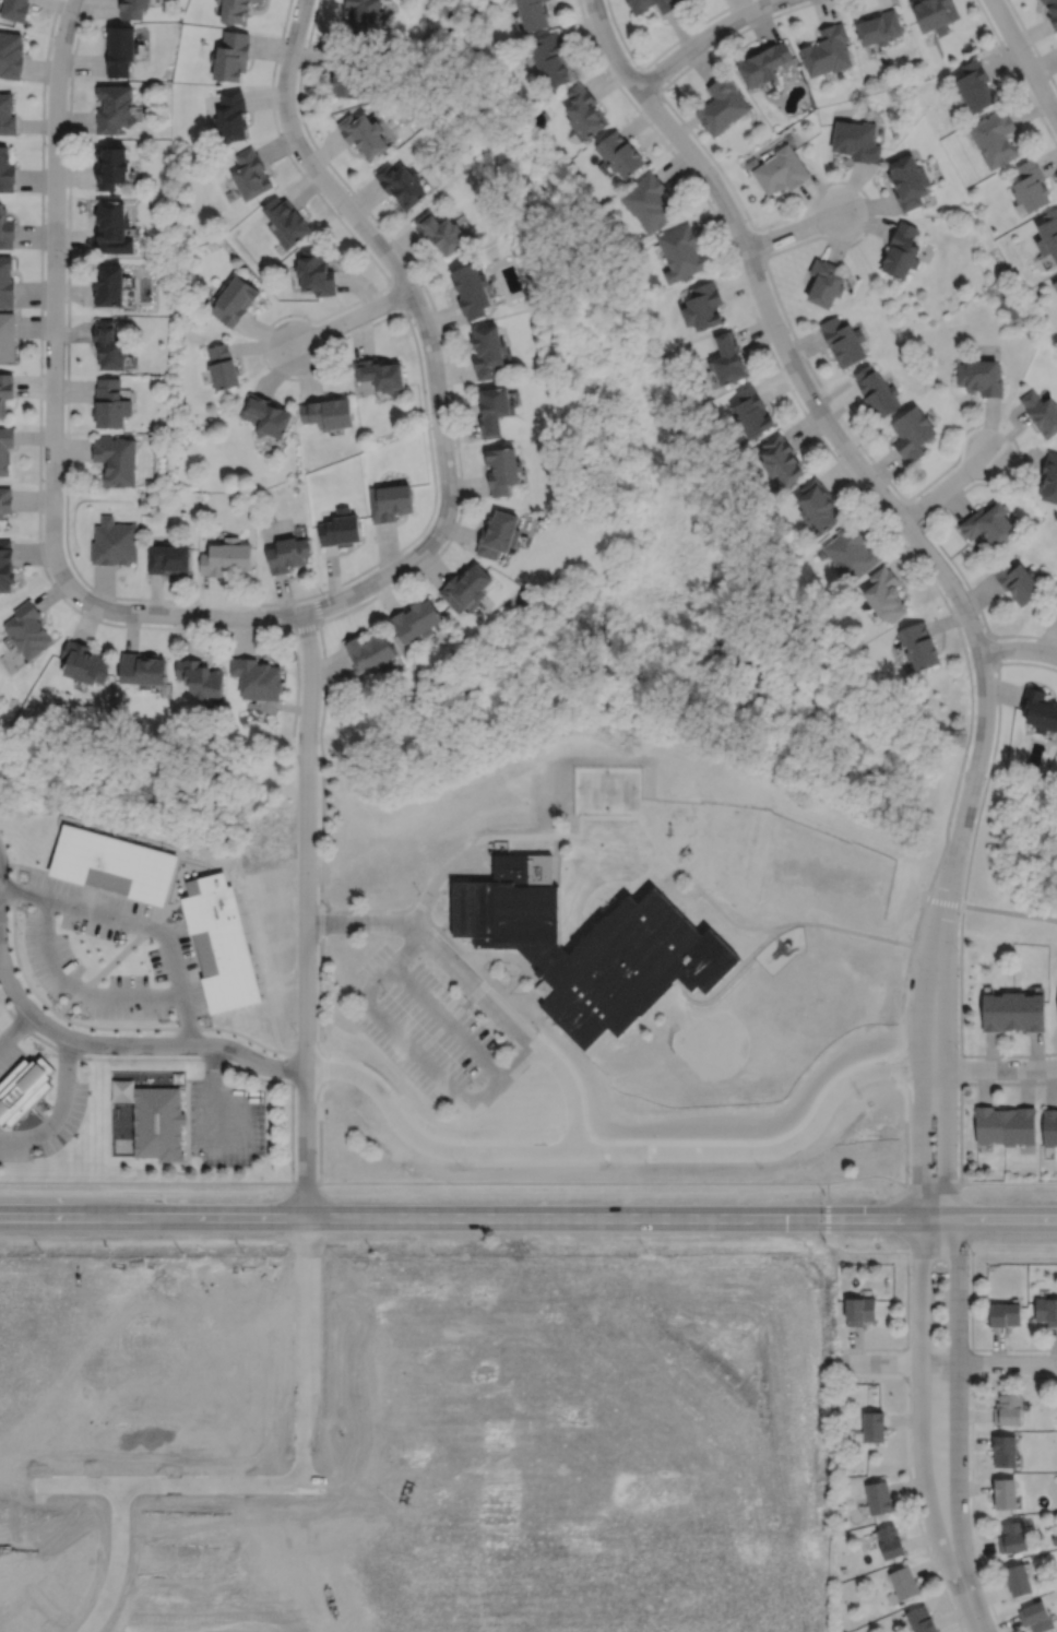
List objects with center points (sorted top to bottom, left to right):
building: (259, 0)
building: (132, 8)
building: (15, 9)
building: (234, 10)
building: (638, 10)
building: (1052, 11)
building: (534, 13)
building: (936, 13)
building: (365, 15)
street lamp: (79, 20)
building: (879, 26)
street lamp: (285, 29)
road: (703, 38)
street lamp: (716, 42)
road: (1032, 44)
building: (120, 48)
building: (827, 49)
street lamp: (1033, 52)
building: (11, 54)
building: (231, 55)
road: (657, 56)
building: (550, 58)
road: (1024, 58)
building: (763, 62)
street lamp: (634, 67)
building: (346, 71)
road: (1017, 72)
road: (649, 80)
building: (976, 84)
building: (721, 104)
building: (115, 107)
building: (584, 110)
building: (7, 114)
building: (230, 115)
street lamp: (300, 123)
building: (363, 132)
building: (996, 138)
street lamp: (45, 140)
building: (856, 140)
building: (620, 153)
building: (111, 165)
building: (7, 170)
building: (780, 170)
building: (251, 174)
street lamp: (718, 174)
building: (908, 180)
building: (401, 184)
building: (1033, 186)
building: (649, 202)
street lamp: (341, 216)
building: (286, 222)
building: (5, 228)
building: (112, 228)
road: (797, 229)
building: (441, 232)
street lamp: (821, 234)
building: (1049, 234)
road: (757, 241)
building: (680, 251)
building: (902, 251)
street lamp: (66, 258)
building: (316, 271)
building: (7, 282)
building: (824, 283)
building: (1056, 284)
building: (108, 286)
building: (472, 291)
road: (397, 296)
building: (235, 299)
building: (703, 307)
road: (352, 318)
street lamp: (409, 318)
road: (786, 321)
street lamp: (309, 322)
road: (425, 324)
street lamp: (788, 331)
building: (8, 336)
building: (843, 341)
building: (109, 346)
building: (488, 352)
building: (729, 360)
street lamp: (43, 366)
building: (223, 367)
building: (383, 377)
building: (982, 378)
building: (5, 391)
building: (877, 392)
building: (110, 404)
building: (495, 412)
road: (52, 413)
building: (1042, 413)
building: (330, 414)
building: (752, 414)
building: (266, 416)
street lamp: (430, 423)
building: (913, 434)
road: (839, 440)
road: (822, 441)
building: (5, 449)
street lamp: (838, 457)
building: (116, 461)
building: (782, 461)
road: (459, 469)
building: (503, 471)
road: (38, 473)
building: (1048, 476)
street lamp: (972, 481)
street lamp: (63, 487)
road: (945, 487)
building: (5, 501)
building: (391, 502)
building: (819, 506)
road: (913, 512)
building: (987, 524)
building: (342, 530)
building: (499, 536)
street lamp: (446, 540)
building: (114, 543)
road: (403, 547)
building: (852, 554)
building: (288, 556)
building: (168, 559)
building: (227, 559)
building: (7, 568)
building: (1016, 580)
street lamp: (961, 582)
building: (466, 590)
street lamp: (323, 594)
building: (887, 596)
building: (1056, 604)
street lamp: (199, 605)
building: (1056, 606)
street lamp: (82, 610)
building: (416, 623)
road: (305, 625)
building: (28, 631)
building: (922, 648)
road: (995, 648)
road: (1018, 649)
building: (371, 655)
street lamp: (1005, 660)
road: (1026, 662)
building: (85, 665)
building: (144, 672)
building: (202, 681)
building: (259, 681)
building: (1038, 710)
street lamp: (966, 729)
street lamp: (294, 749)
road: (985, 784)
road: (500, 837)
road: (646, 848)
street lamp: (969, 849)
road: (555, 850)
road: (472, 862)
park: (1011, 862)
building: (112, 864)
road: (648, 875)
road: (430, 890)
street lamp: (295, 891)
road: (437, 895)
road: (943, 901)
road: (716, 906)
road: (582, 908)
street lamp: (329, 910)
road: (1010, 912)
road: (306, 913)
road: (378, 913)
road: (321, 915)
road: (917, 921)
road: (138, 923)
road: (359, 923)
road: (852, 931)
road: (444, 935)
street lamp: (910, 938)
road: (772, 941)
building: (219, 943)
parking lot: (46, 946)
building: (589, 948)
street lamp: (957, 949)
road: (507, 958)
road: (390, 968)
road: (479, 970)
building: (543, 986)
road: (724, 986)
road: (960, 986)
road: (79, 989)
street lamp: (385, 991)
road: (320, 995)
road: (507, 997)
road: (530, 1004)
street lamp: (472, 1006)
building: (997, 1009)
building: (1029, 1009)
road: (453, 1018)
street lamp: (161, 1020)
road: (449, 1021)
road: (14, 1025)
parking lot: (425, 1026)
road: (515, 1026)
street lamp: (294, 1030)
street lamp: (538, 1031)
road: (78, 1040)
street lamp: (900, 1050)
street lamp: (958, 1050)
parking lot: (7, 1054)
road: (1008, 1055)
street lamp: (331, 1057)
street lamp: (1048, 1057)
road: (919, 1059)
road: (946, 1060)
road: (423, 1061)
road: (258, 1064)
road: (906, 1065)
road: (1001, 1069)
road: (214, 1071)
road: (504, 1078)
road: (260, 1079)
street lamp: (472, 1081)
street lamp: (387, 1083)
road: (1008, 1083)
building: (22, 1087)
building: (122, 1090)
road: (59, 1108)
parking lot: (47, 1123)
building: (158, 1123)
building: (989, 1123)
parking lot: (226, 1124)
building: (1019, 1124)
road: (321, 1126)
road: (960, 1126)
building: (1049, 1126)
road: (247, 1146)
road: (623, 1150)
street lamp: (294, 1168)
street lamp: (910, 1174)
road: (868, 1176)
street lamp: (957, 1176)
road: (573, 1182)
road: (145, 1183)
road: (307, 1183)
road: (1008, 1183)
road: (933, 1185)
road: (828, 1211)
road: (461, 1218)
road: (906, 1218)
road: (989, 1219)
road: (865, 1252)
road: (938, 1252)
road: (906, 1300)
road: (971, 1300)
building: (858, 1311)
building: (1046, 1311)
building: (1005, 1315)
building: (462, 1340)
road: (947, 1362)
road: (957, 1402)
road: (919, 1406)
building: (1008, 1410)
building: (872, 1427)
crop: (415, 1431)
building: (1003, 1451)
building: (1005, 1493)
building: (878, 1498)
building: (1012, 1538)
building: (889, 1541)
building: (1018, 1580)
building: (903, 1583)
road: (972, 1608)
building: (1035, 1617)
building: (921, 1620)

